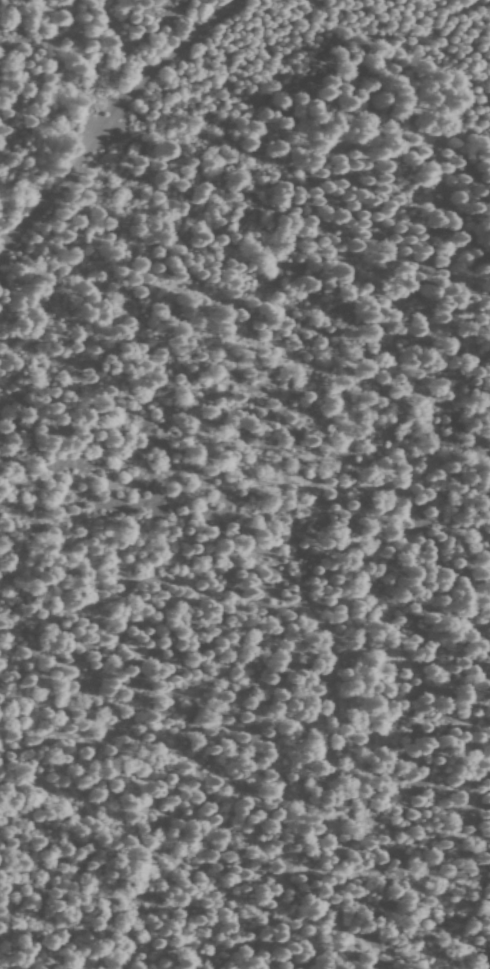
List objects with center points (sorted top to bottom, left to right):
road: (106, 112)
road: (407, 662)

